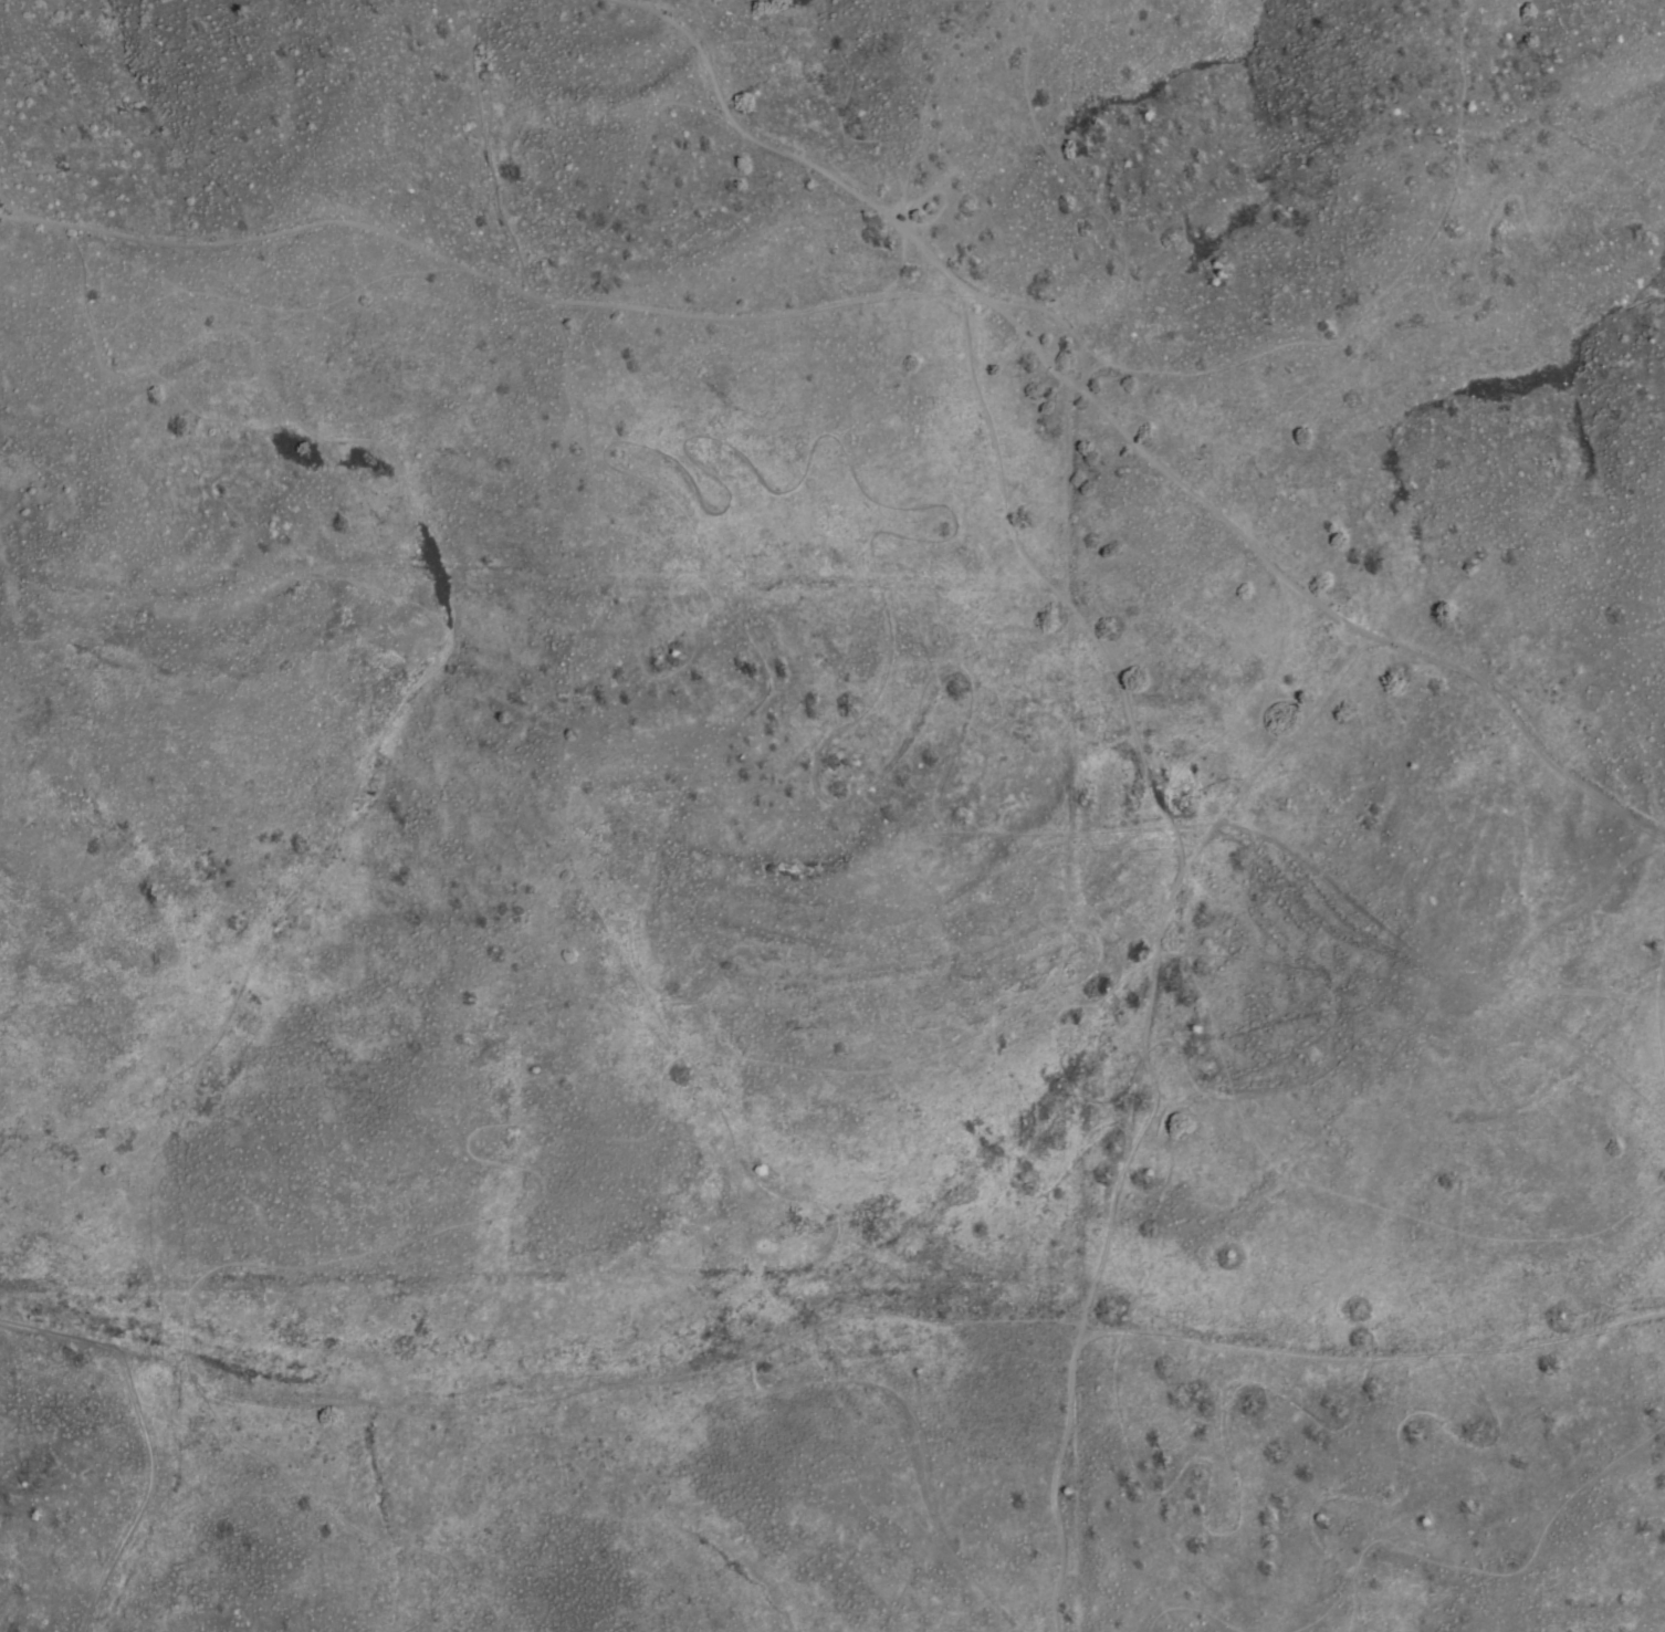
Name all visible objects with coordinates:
road: (1130, 436)
road: (1656, 986)
road: (821, 1326)
road: (1058, 1476)
road: (142, 1497)

